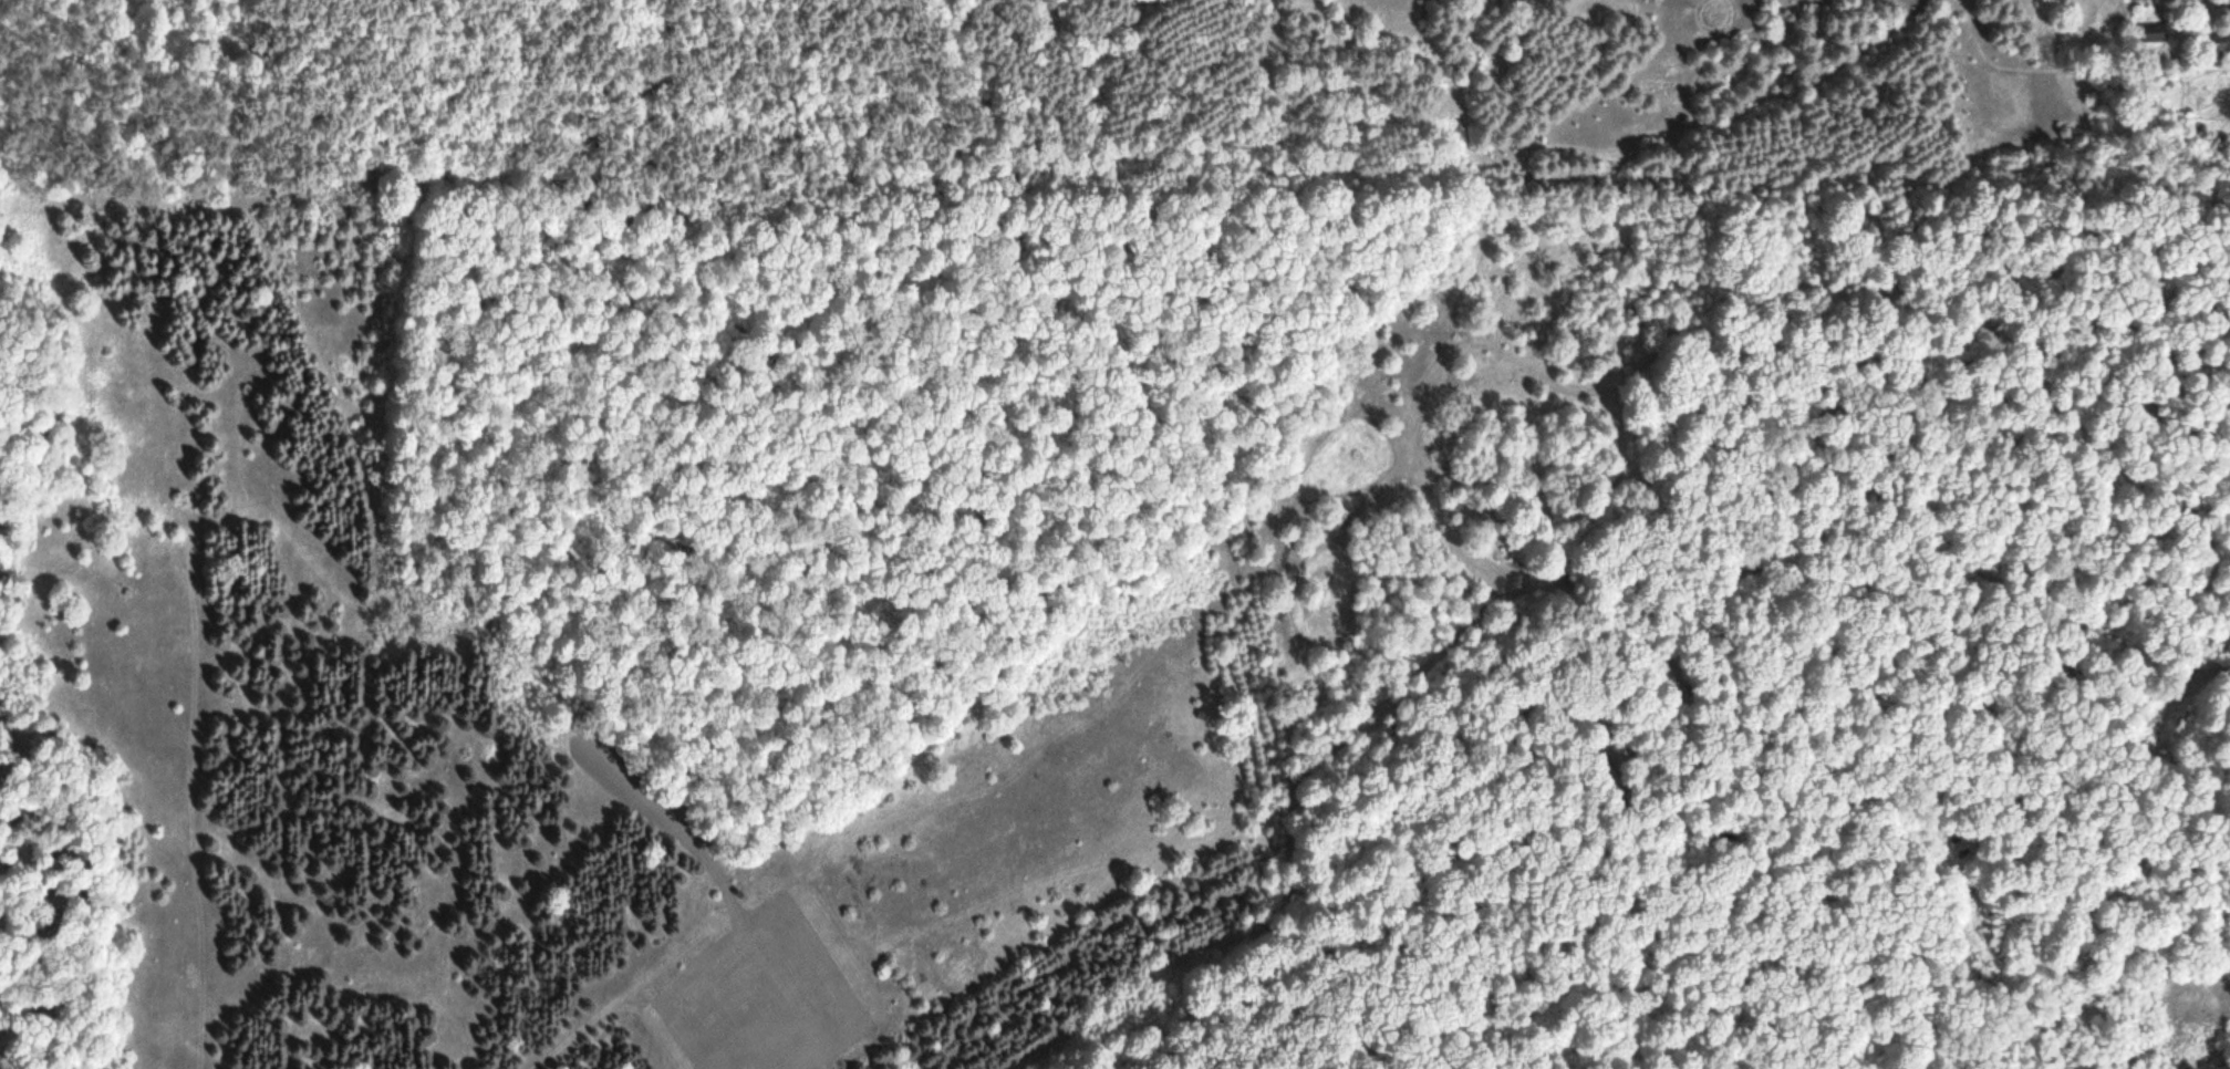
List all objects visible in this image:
building: (2155, 32)
building: (2216, 46)

